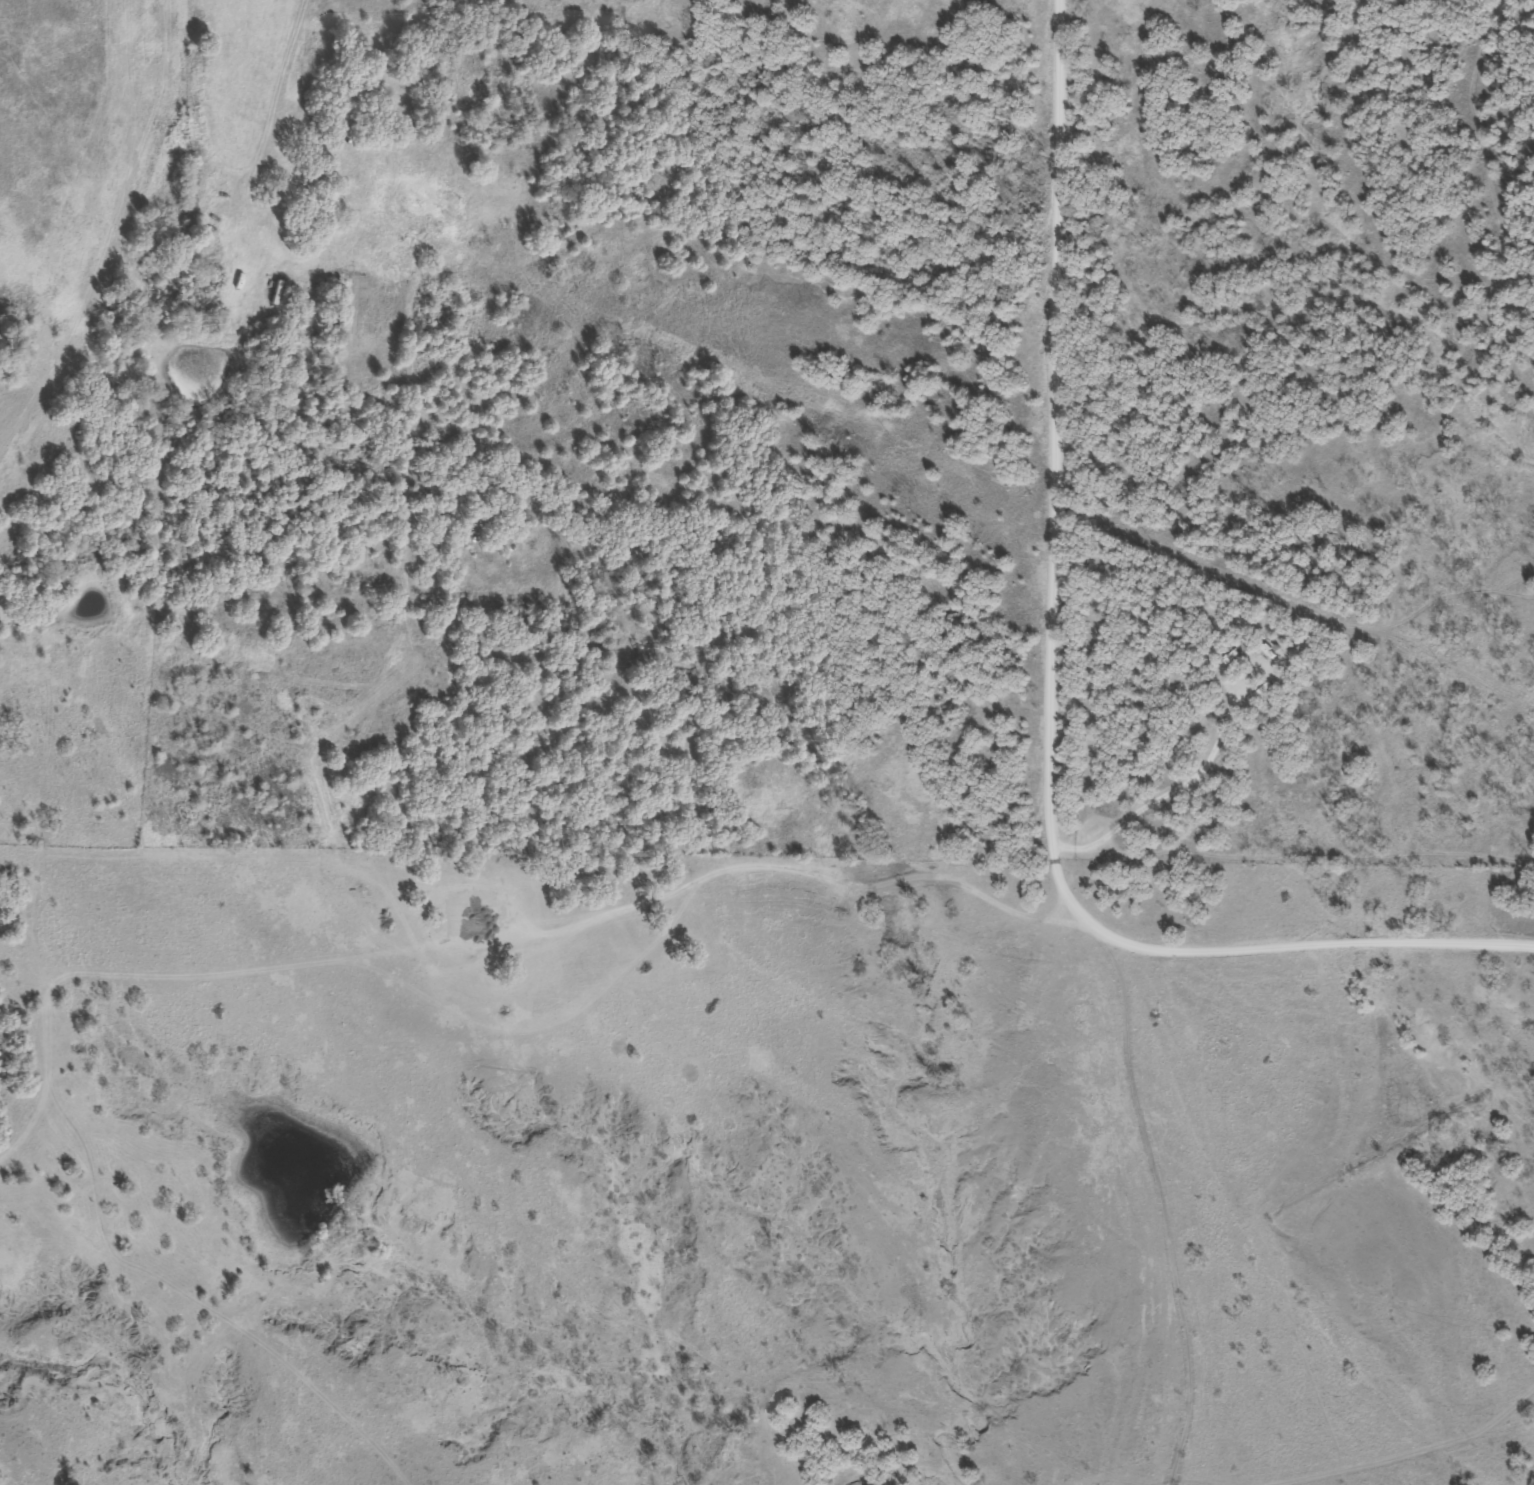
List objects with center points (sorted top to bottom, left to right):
building: (1248, 646)
building: (1265, 689)
road: (1054, 698)

